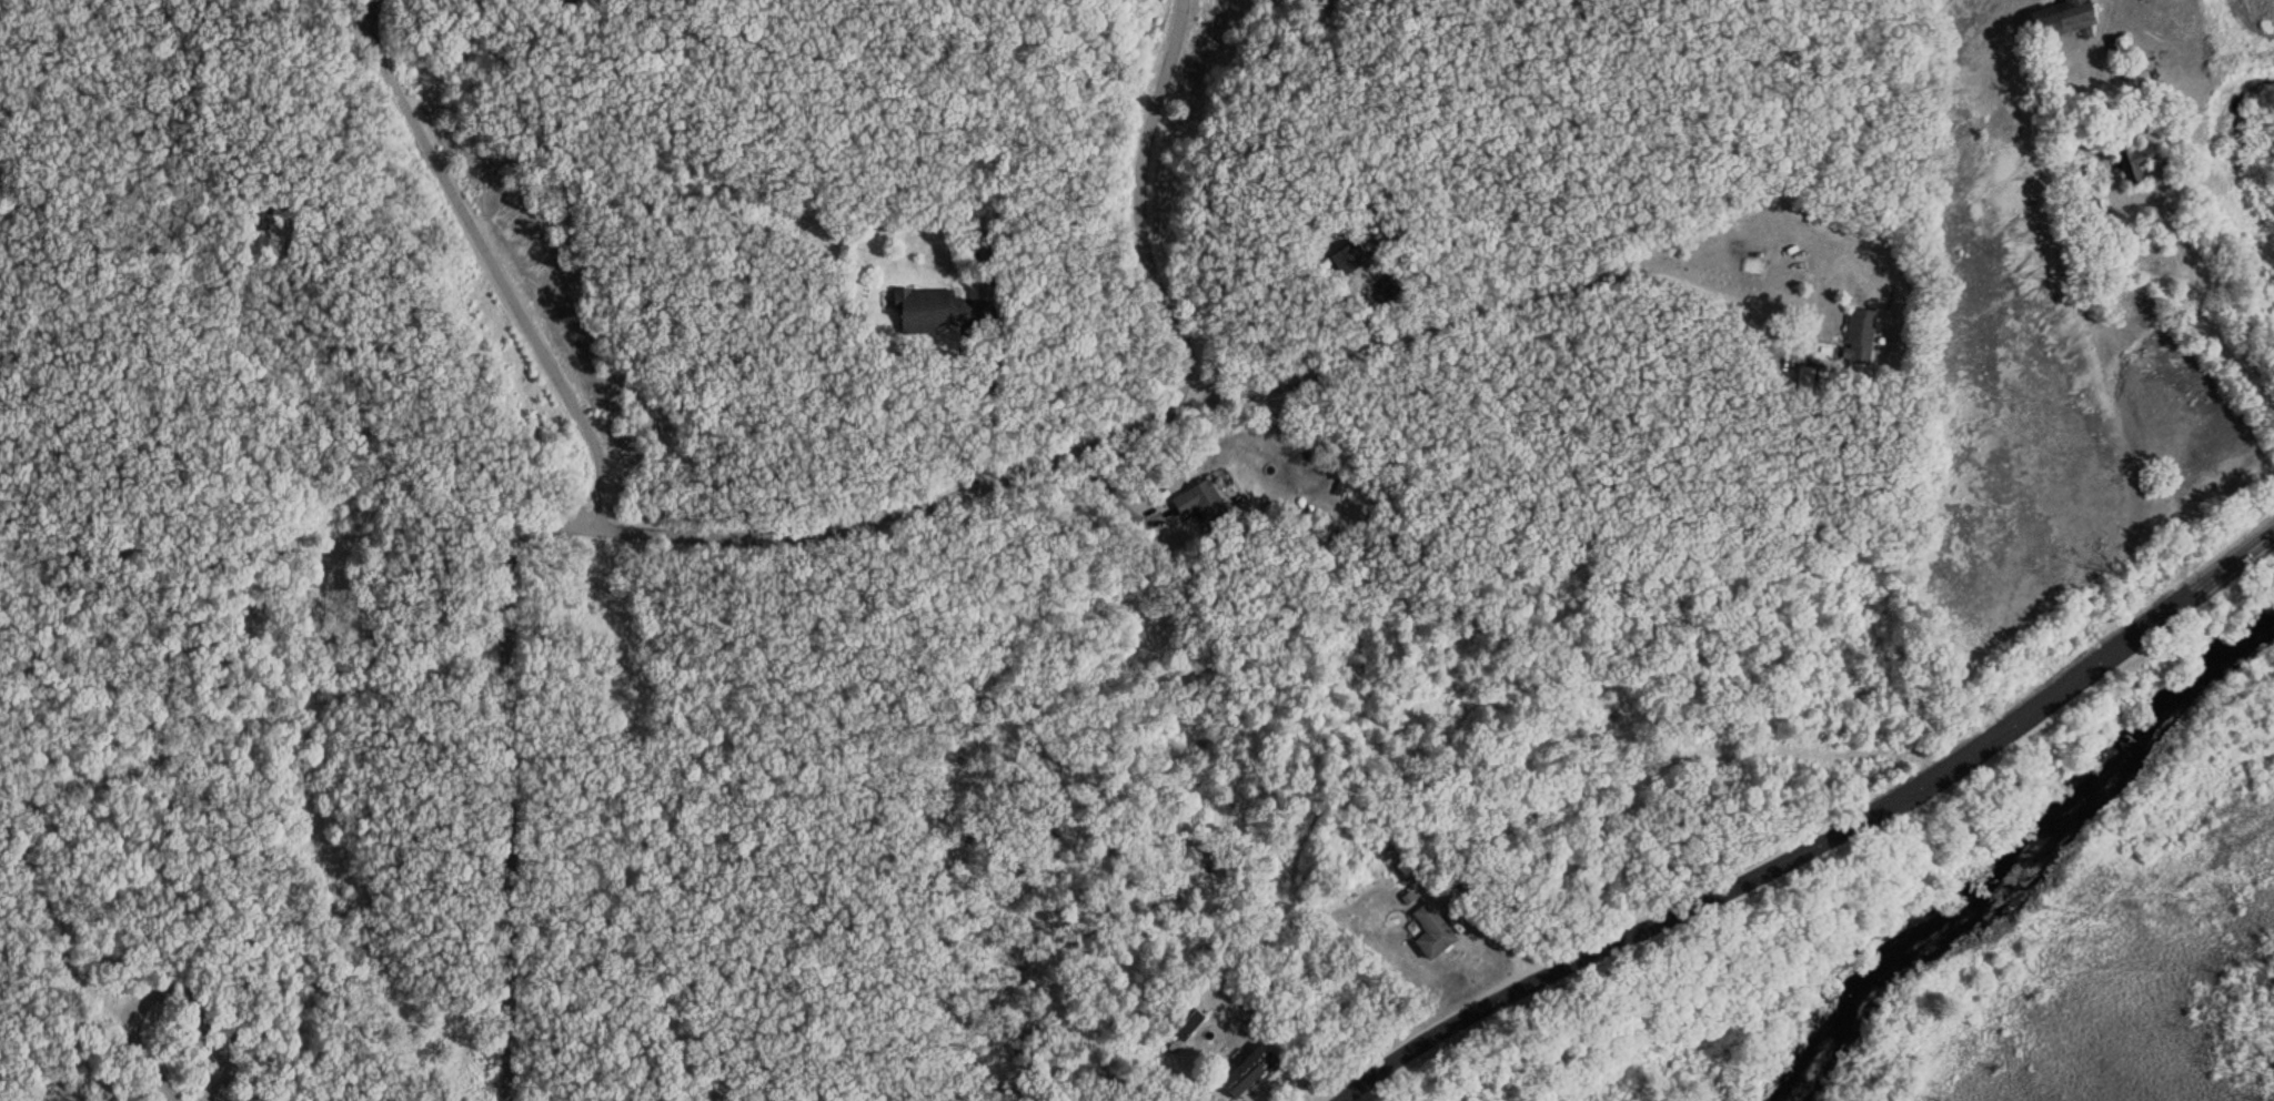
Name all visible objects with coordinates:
road: (369, 10)
building: (2056, 19)
building: (2131, 161)
road: (2132, 201)
building: (982, 248)
road: (495, 259)
road: (1501, 301)
building: (930, 311)
building: (1855, 335)
road: (964, 347)
road: (2234, 360)
road: (1111, 495)
building: (1197, 502)
road: (802, 539)
road: (1808, 847)
road: (1481, 929)
building: (1428, 931)
building: (1252, 1071)
road: (715, 1094)

